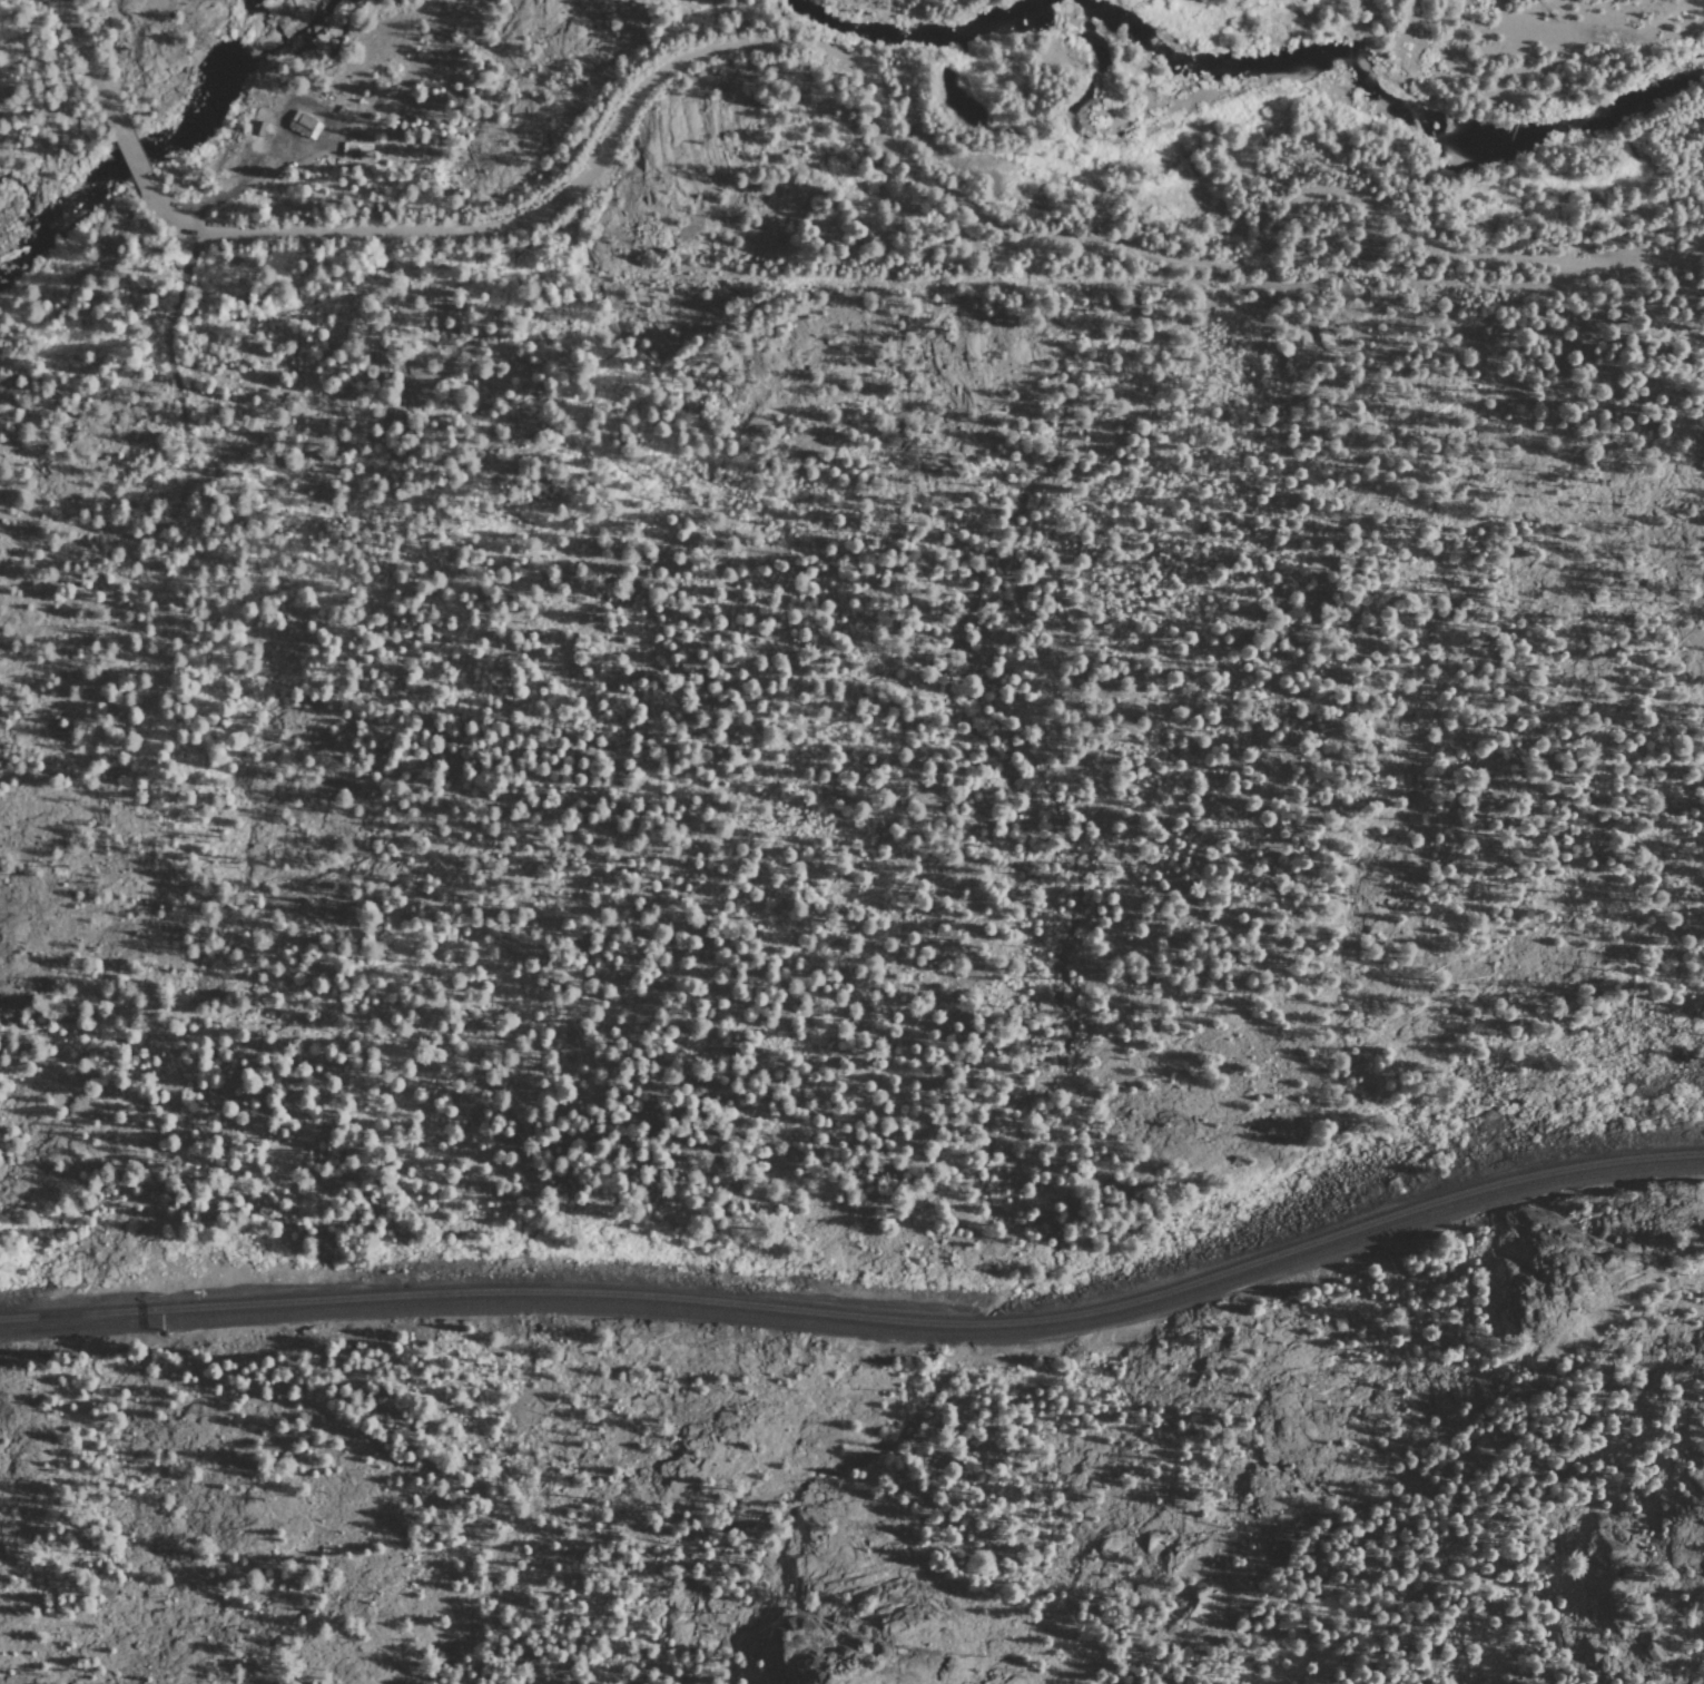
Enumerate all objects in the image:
road: (87, 56)
building: (301, 122)
river: (183, 137)
road: (131, 152)
road: (234, 185)
road: (159, 205)
road: (492, 223)
road: (1203, 260)
river: (12, 282)
road: (97, 308)
railway: (861, 1322)
railway: (861, 1332)

